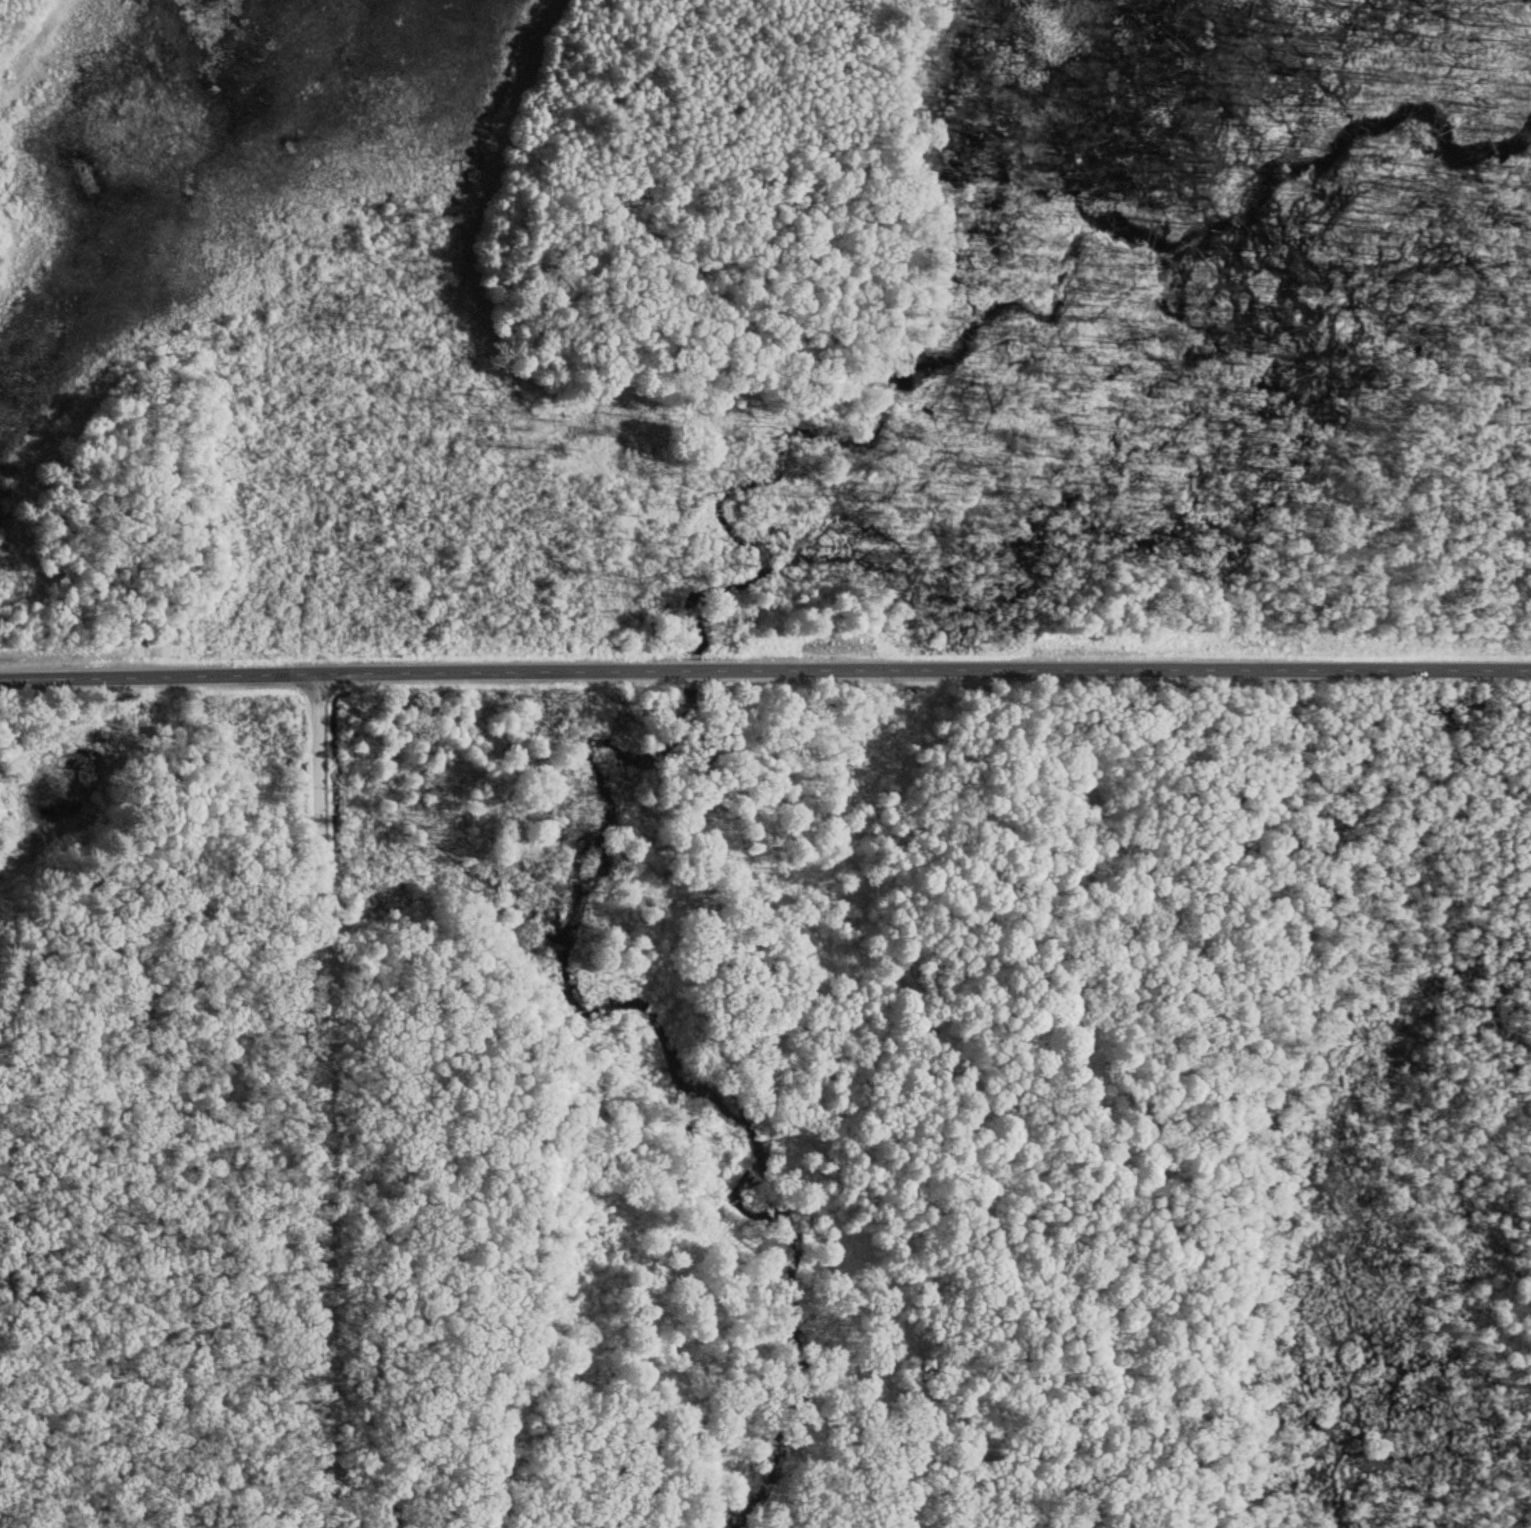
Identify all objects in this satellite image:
road: (695, 664)
road: (1124, 665)
road: (337, 672)
road: (318, 1100)

